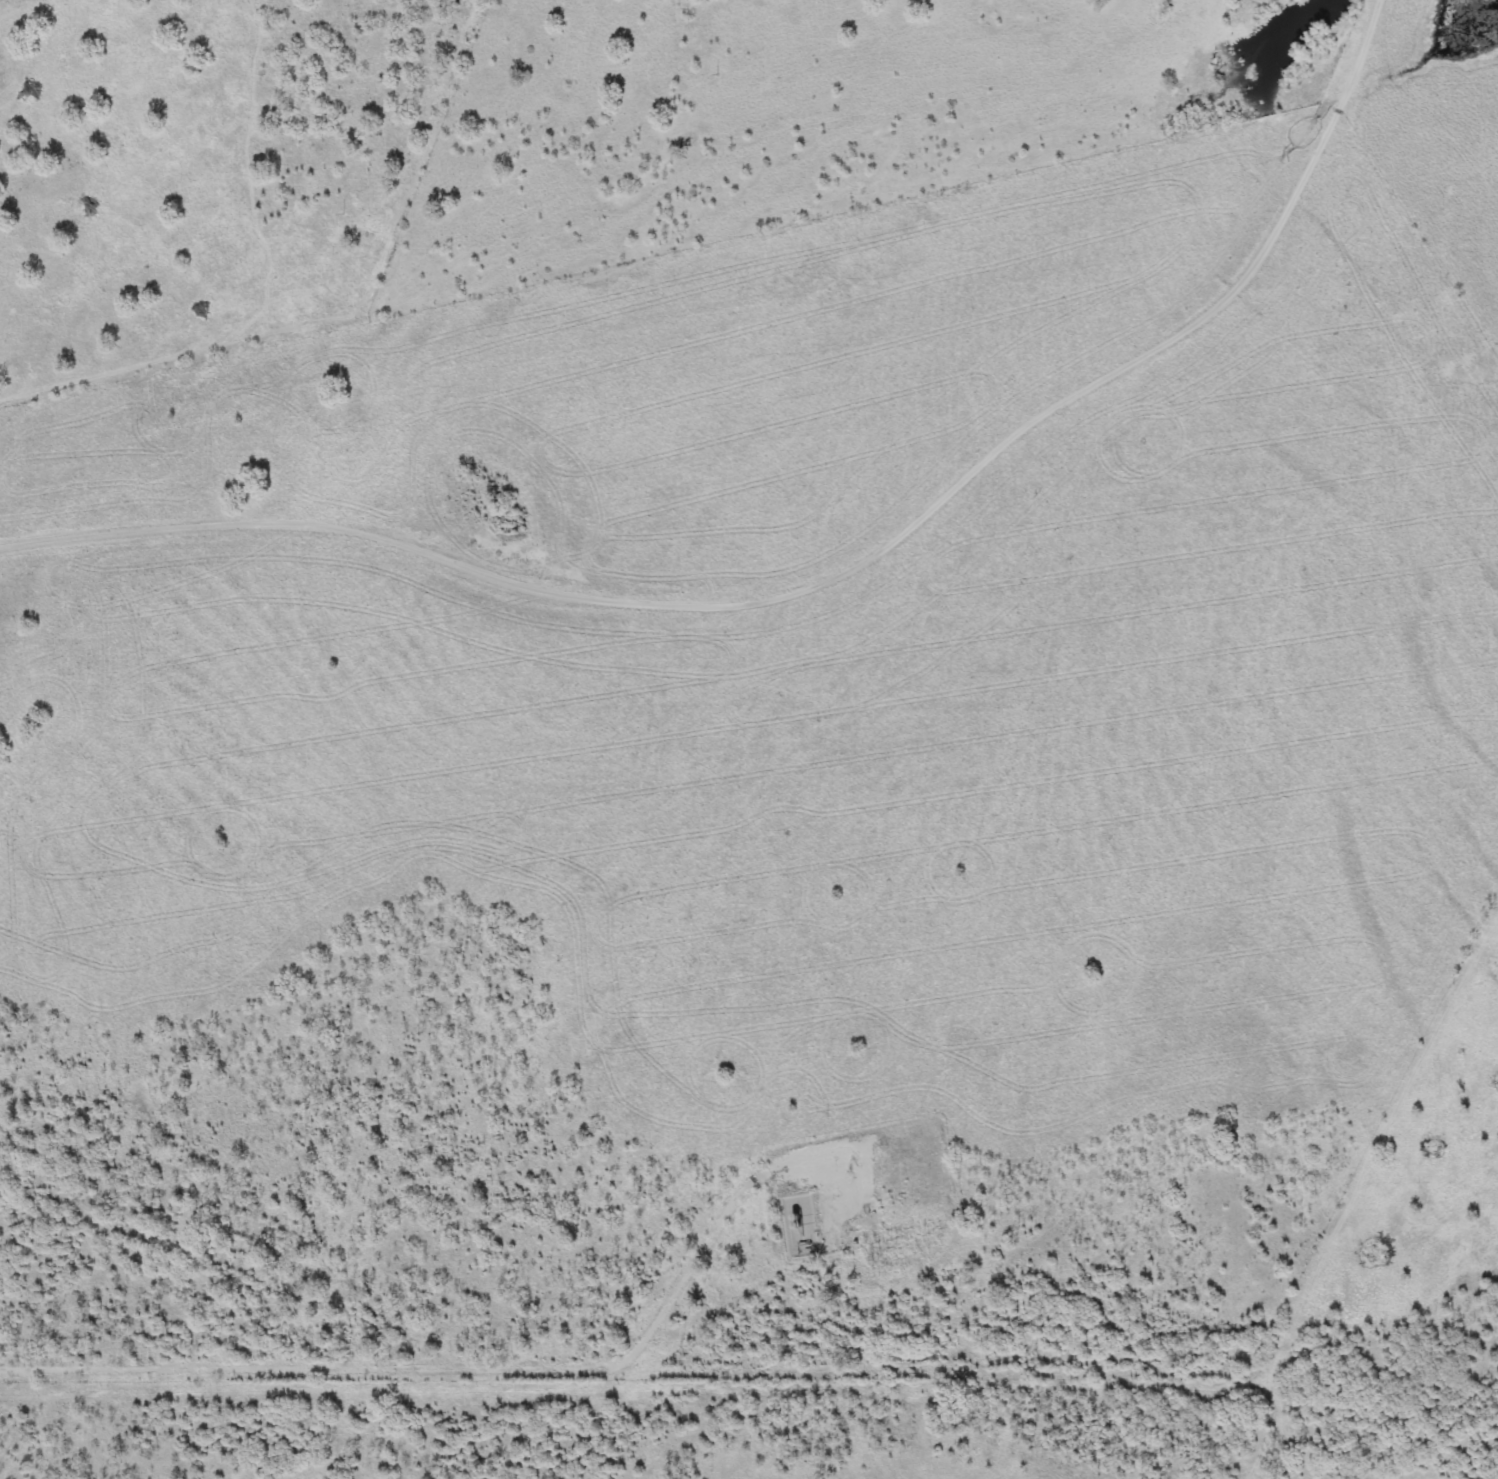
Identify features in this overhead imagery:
road: (818, 578)
road: (521, 1371)

